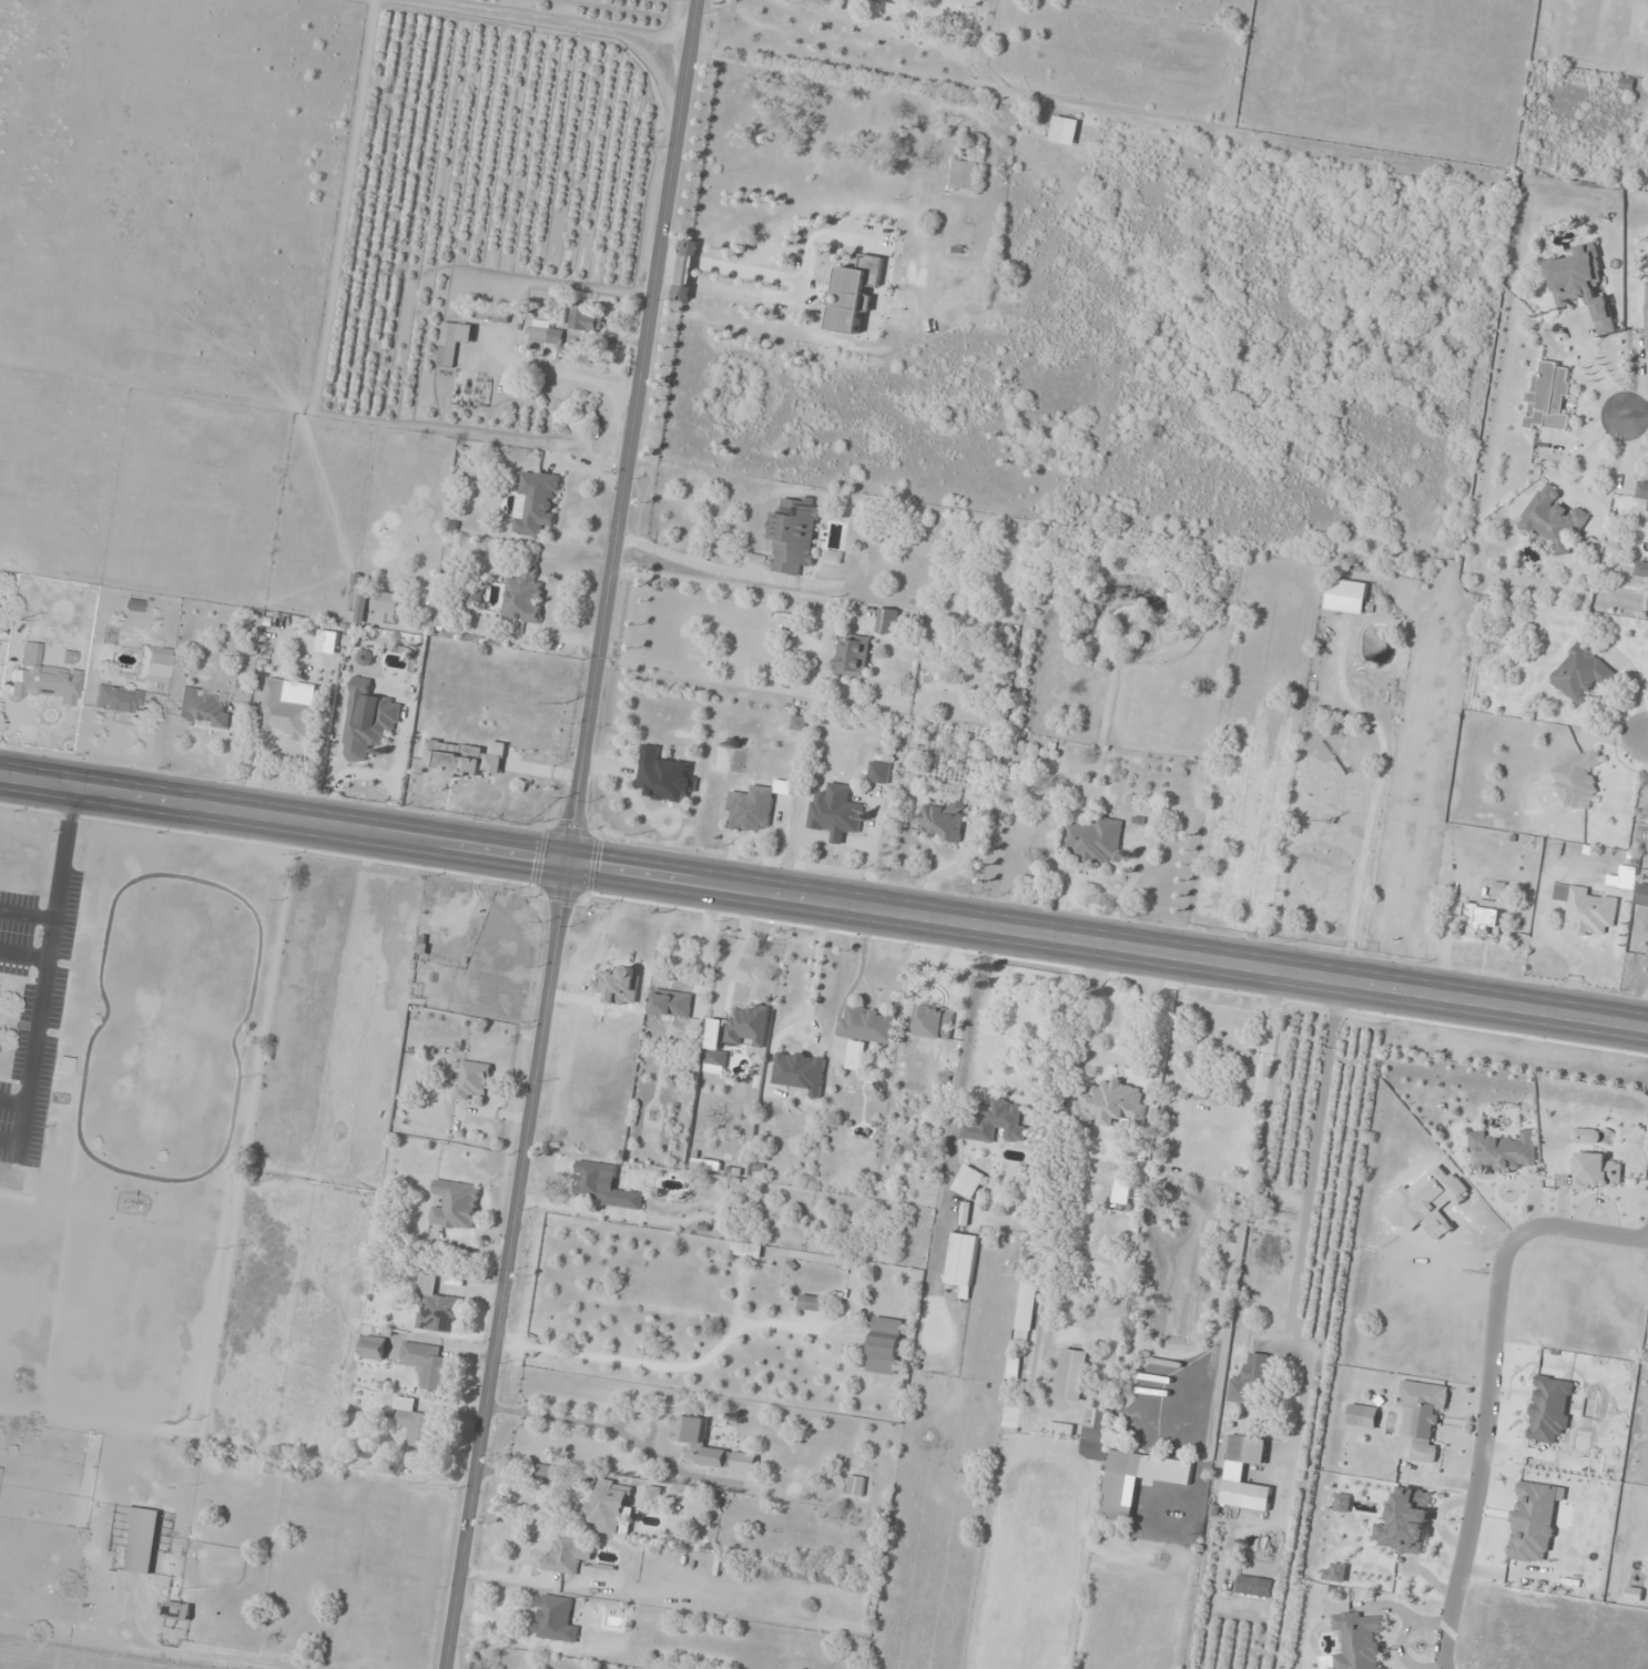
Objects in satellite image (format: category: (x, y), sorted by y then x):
building: (885, 1)
building: (1064, 131)
building: (965, 174)
building: (686, 271)
building: (1583, 285)
building: (975, 286)
building: (854, 293)
building: (492, 314)
building: (1646, 315)
building: (584, 318)
building: (547, 338)
building: (454, 342)
building: (1548, 398)
road: (1636, 416)
building: (586, 424)
building: (1642, 490)
building: (536, 502)
building: (1553, 520)
building: (1647, 521)
building: (794, 533)
building: (1641, 569)
building: (476, 594)
building: (525, 597)
building: (1346, 597)
building: (386, 602)
building: (133, 604)
building: (887, 620)
building: (854, 655)
building: (156, 664)
building: (1583, 674)
building: (118, 699)
building: (203, 708)
building: (286, 712)
building: (368, 721)
road: (1647, 739)
building: (465, 759)
building: (879, 772)
building: (665, 776)
building: (1577, 781)
building: (751, 810)
building: (836, 813)
road: (283, 815)
building: (942, 821)
road: (570, 834)
building: (1096, 842)
traffic signals: (567, 856)
building: (1642, 895)
building: (1588, 909)
building: (1484, 918)
road: (1107, 940)
building: (1647, 960)
building: (672, 1004)
building: (935, 1022)
building: (749, 1027)
building: (866, 1030)
building: (713, 1042)
building: (801, 1071)
building: (472, 1080)
building: (1110, 1103)
building: (997, 1123)
building: (1502, 1152)
building: (974, 1179)
building: (603, 1185)
building: (456, 1205)
road: (1577, 1229)
building: (747, 1250)
building: (962, 1261)
building: (811, 1303)
building: (436, 1306)
building: (1026, 1310)
building: (885, 1345)
building: (375, 1347)
building: (427, 1364)
building: (1072, 1375)
building: (1251, 1381)
building: (1363, 1417)
building: (1422, 1419)
building: (415, 1422)
building: (690, 1432)
building: (1248, 1449)
road: (1482, 1451)
building: (0, 1469)
building: (548, 1473)
building: (856, 1486)
building: (653, 1495)
building: (1116, 1495)
building: (1247, 1496)
building: (610, 1507)
building: (1406, 1522)
building: (140, 1540)
building: (567, 1556)
building: (1254, 1587)
building: (177, 1610)
building: (555, 1619)
building: (1357, 1642)
road: (1444, 1665)

